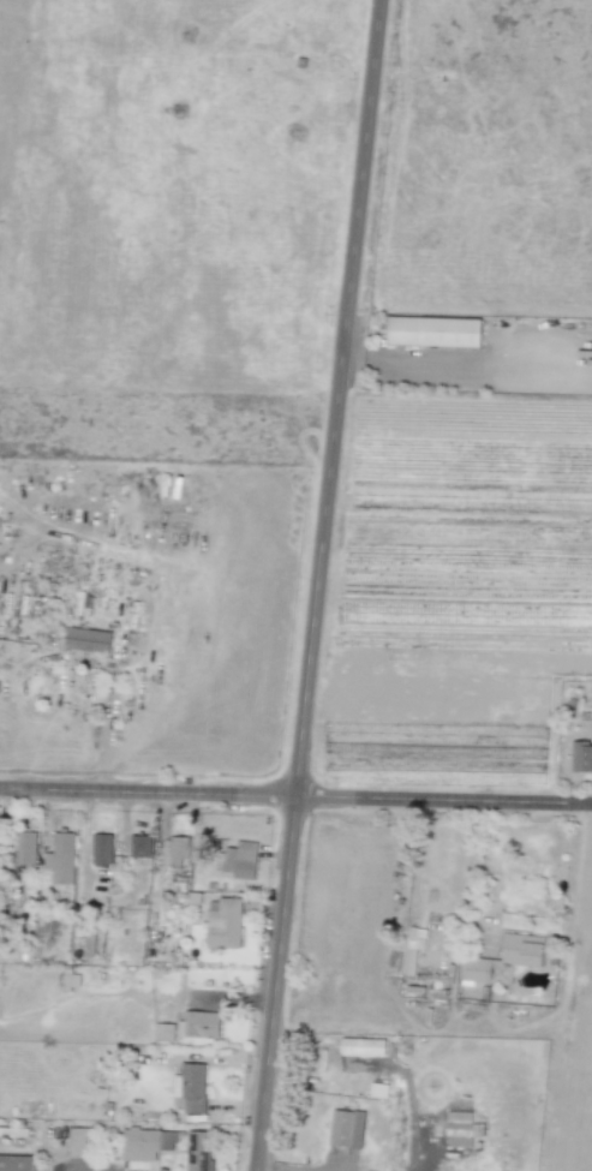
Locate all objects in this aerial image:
building: (432, 331)
road: (406, 357)
road: (321, 585)
building: (88, 639)
building: (581, 755)
road: (295, 796)
building: (140, 846)
building: (101, 848)
building: (25, 850)
building: (178, 852)
building: (59, 860)
building: (240, 860)
building: (223, 922)
building: (413, 948)
building: (504, 960)
building: (199, 1024)
building: (163, 1032)
building: (363, 1046)
building: (190, 1088)
road: (409, 1088)
building: (378, 1089)
building: (347, 1128)
building: (459, 1128)
building: (77, 1140)
building: (145, 1143)
building: (198, 1152)
building: (16, 1163)
road: (72, 1169)
road: (273, 1169)

